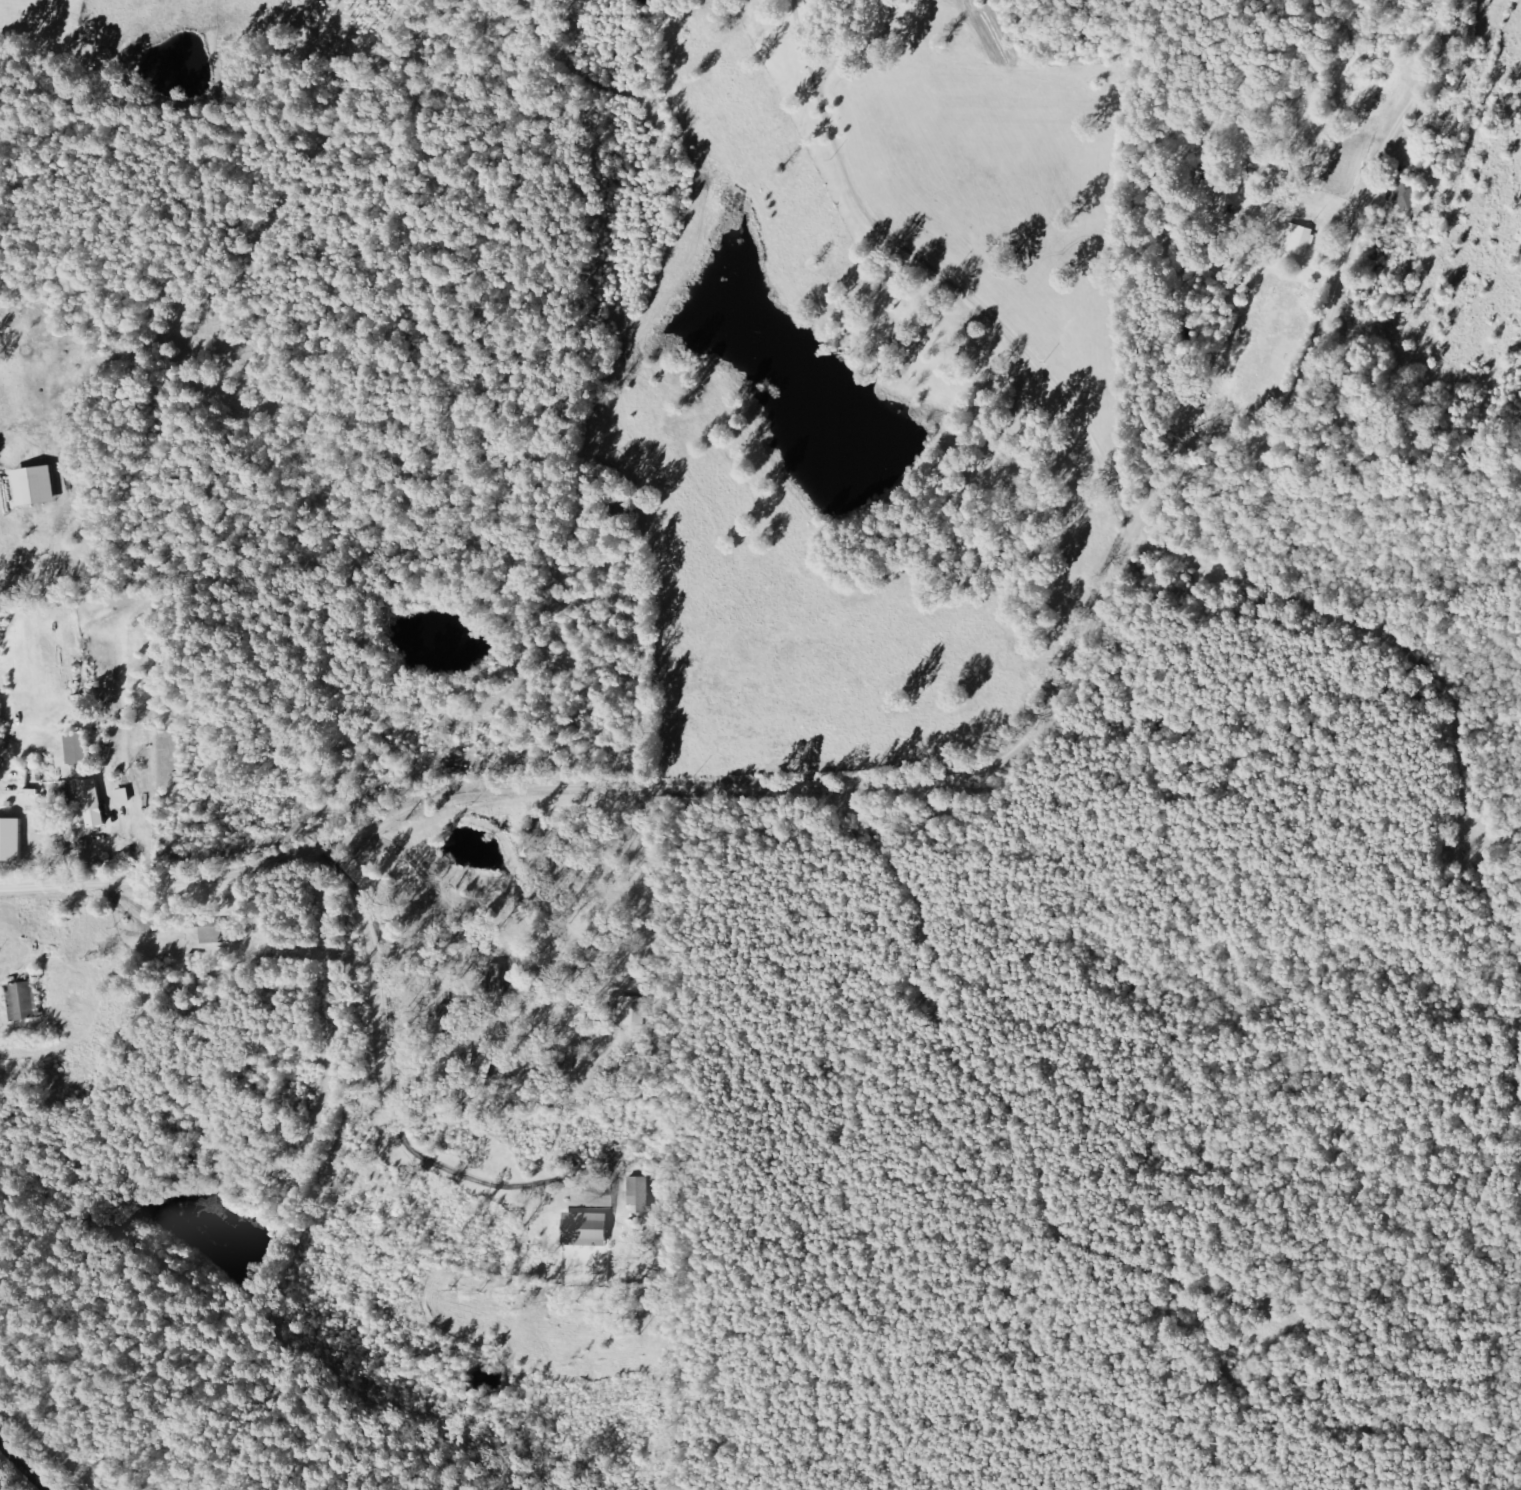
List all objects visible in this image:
building: (1301, 240)
road: (1146, 436)
building: (38, 487)
road: (1113, 629)
building: (79, 750)
building: (95, 804)
building: (13, 840)
road: (539, 913)
building: (219, 932)
building: (25, 1002)
building: (633, 1011)
building: (640, 1196)
building: (588, 1230)
road: (23, 1466)

